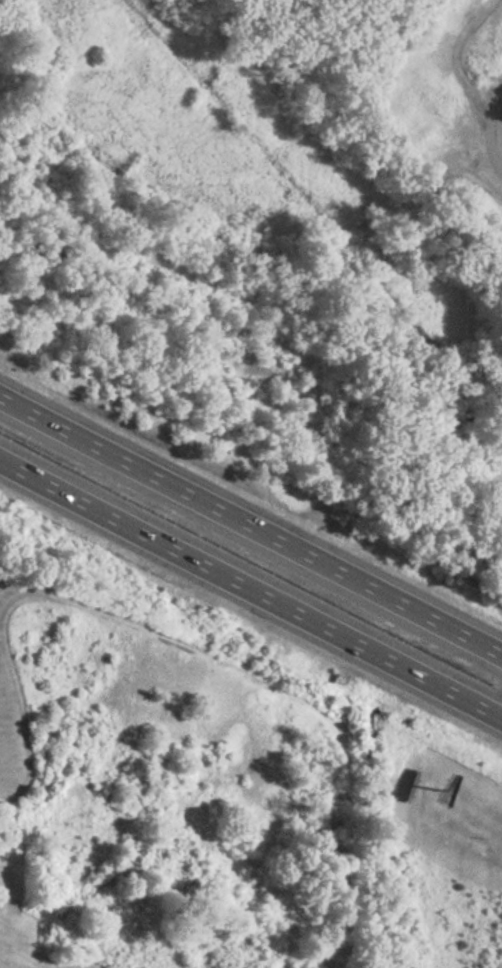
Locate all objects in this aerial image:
road: (251, 526)
road: (251, 593)
road: (500, 718)

